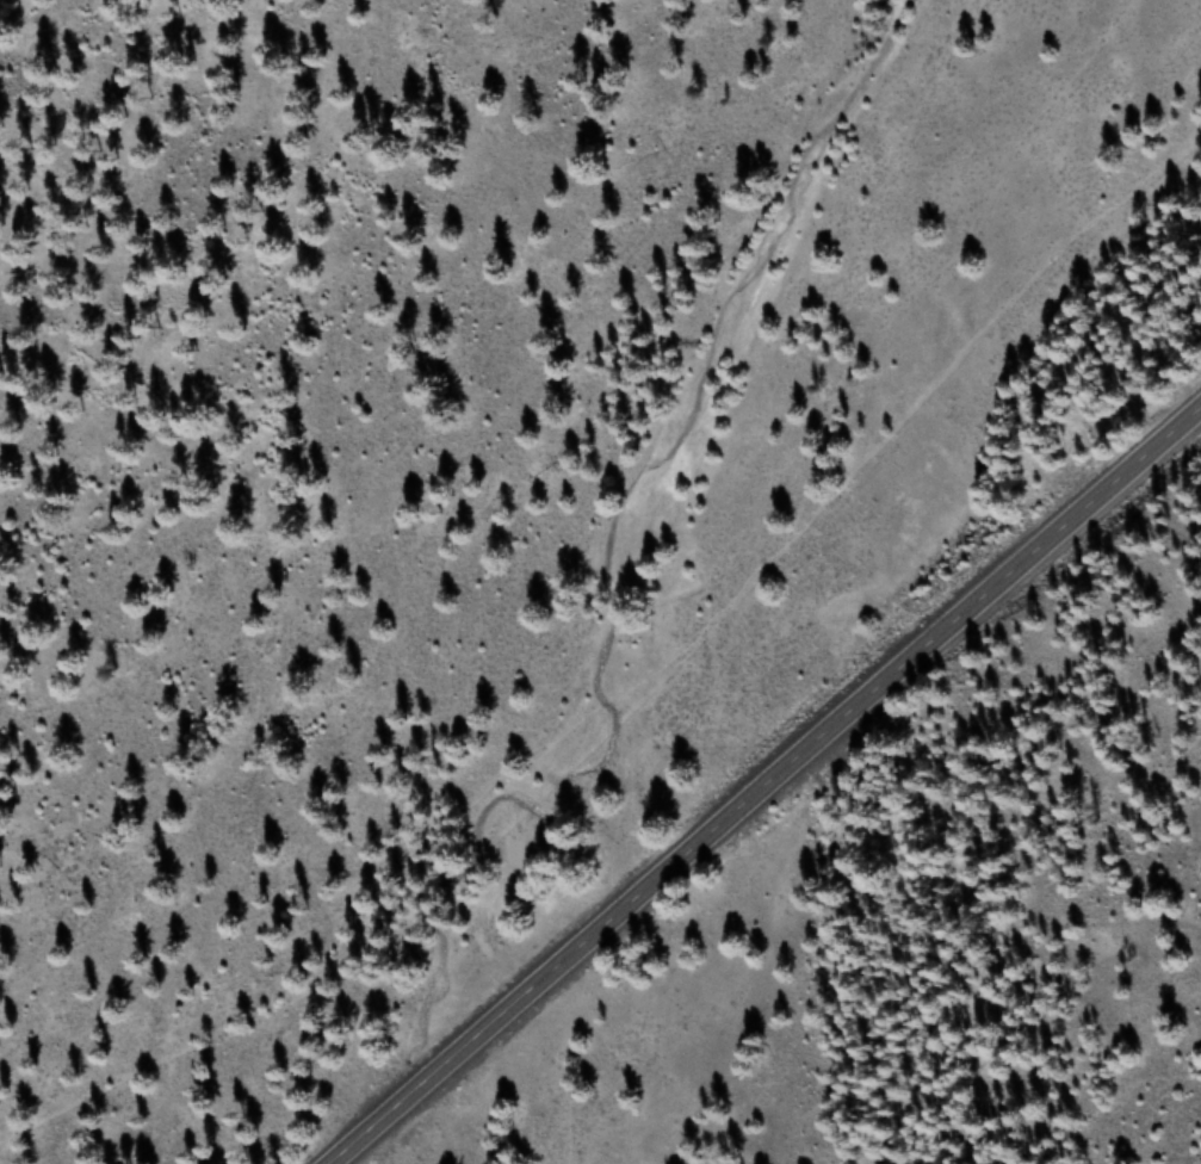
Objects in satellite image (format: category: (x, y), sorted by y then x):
road: (14, 16)
road: (763, 784)

